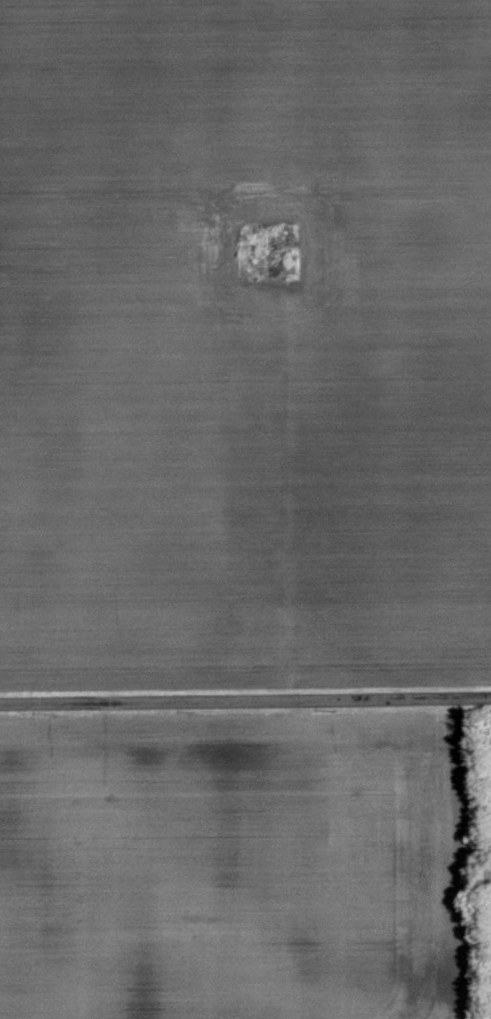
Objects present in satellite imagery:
road: (245, 700)
crop: (236, 867)

